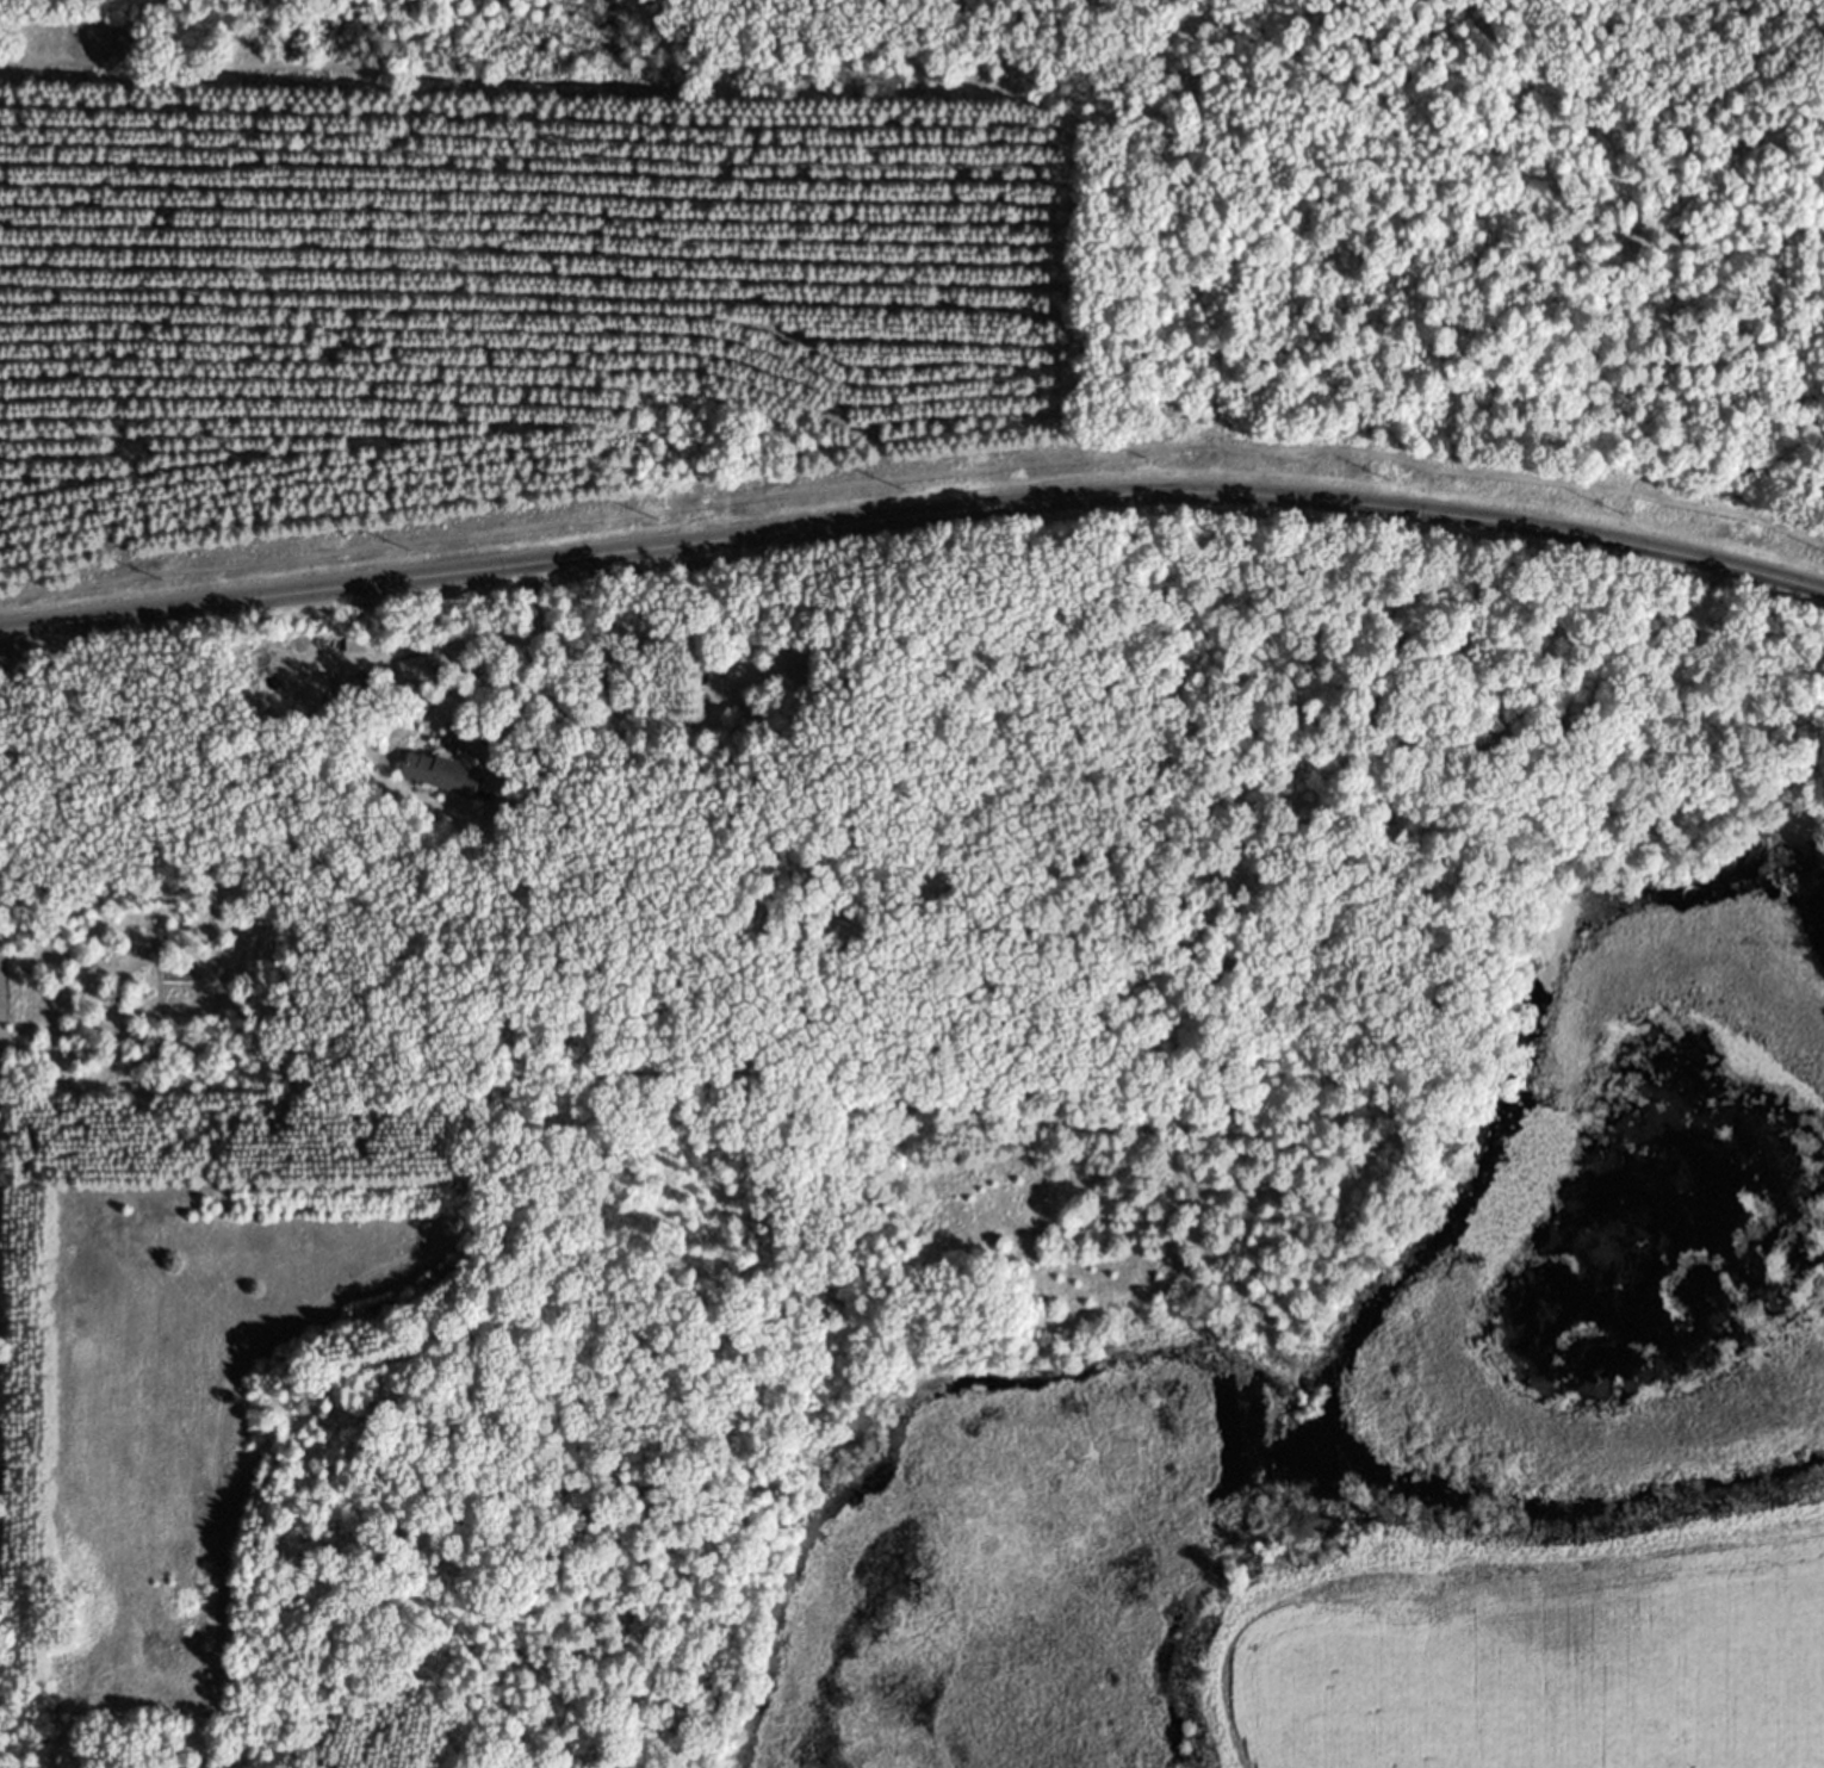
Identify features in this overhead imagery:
road: (913, 521)
building: (421, 676)
building: (448, 783)

